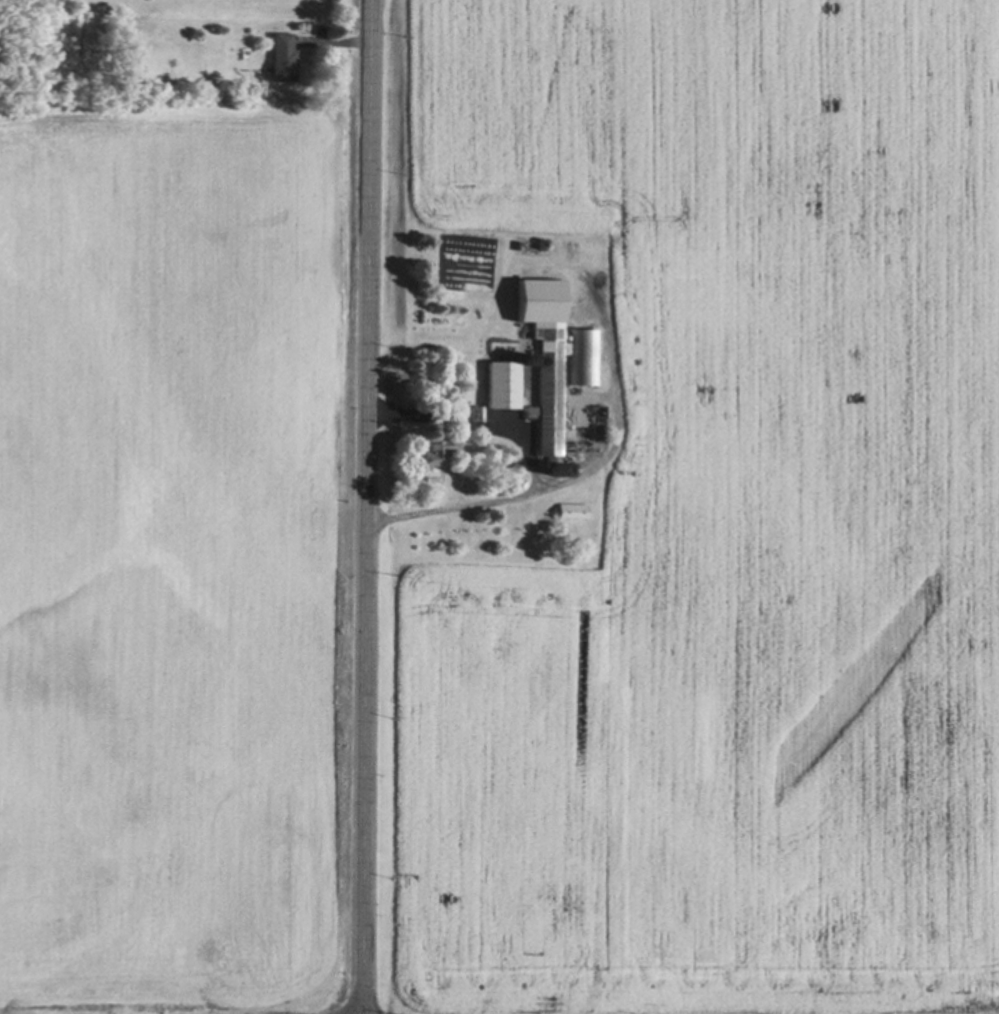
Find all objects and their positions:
building: (282, 58)
building: (542, 354)
building: (497, 384)
building: (436, 451)
road: (520, 497)
road: (367, 506)
crop: (726, 520)
crop: (167, 550)

